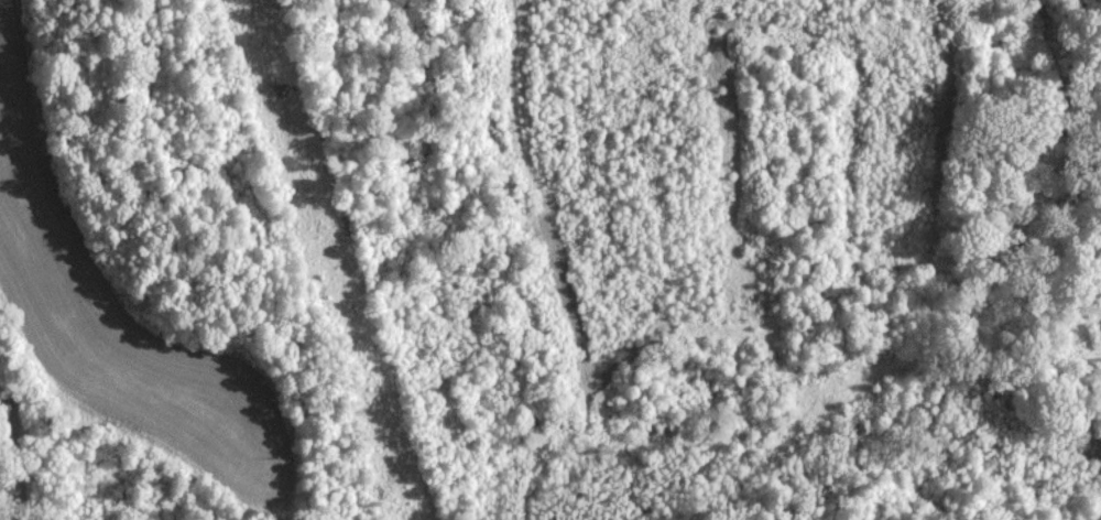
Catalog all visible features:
road: (18, 454)

